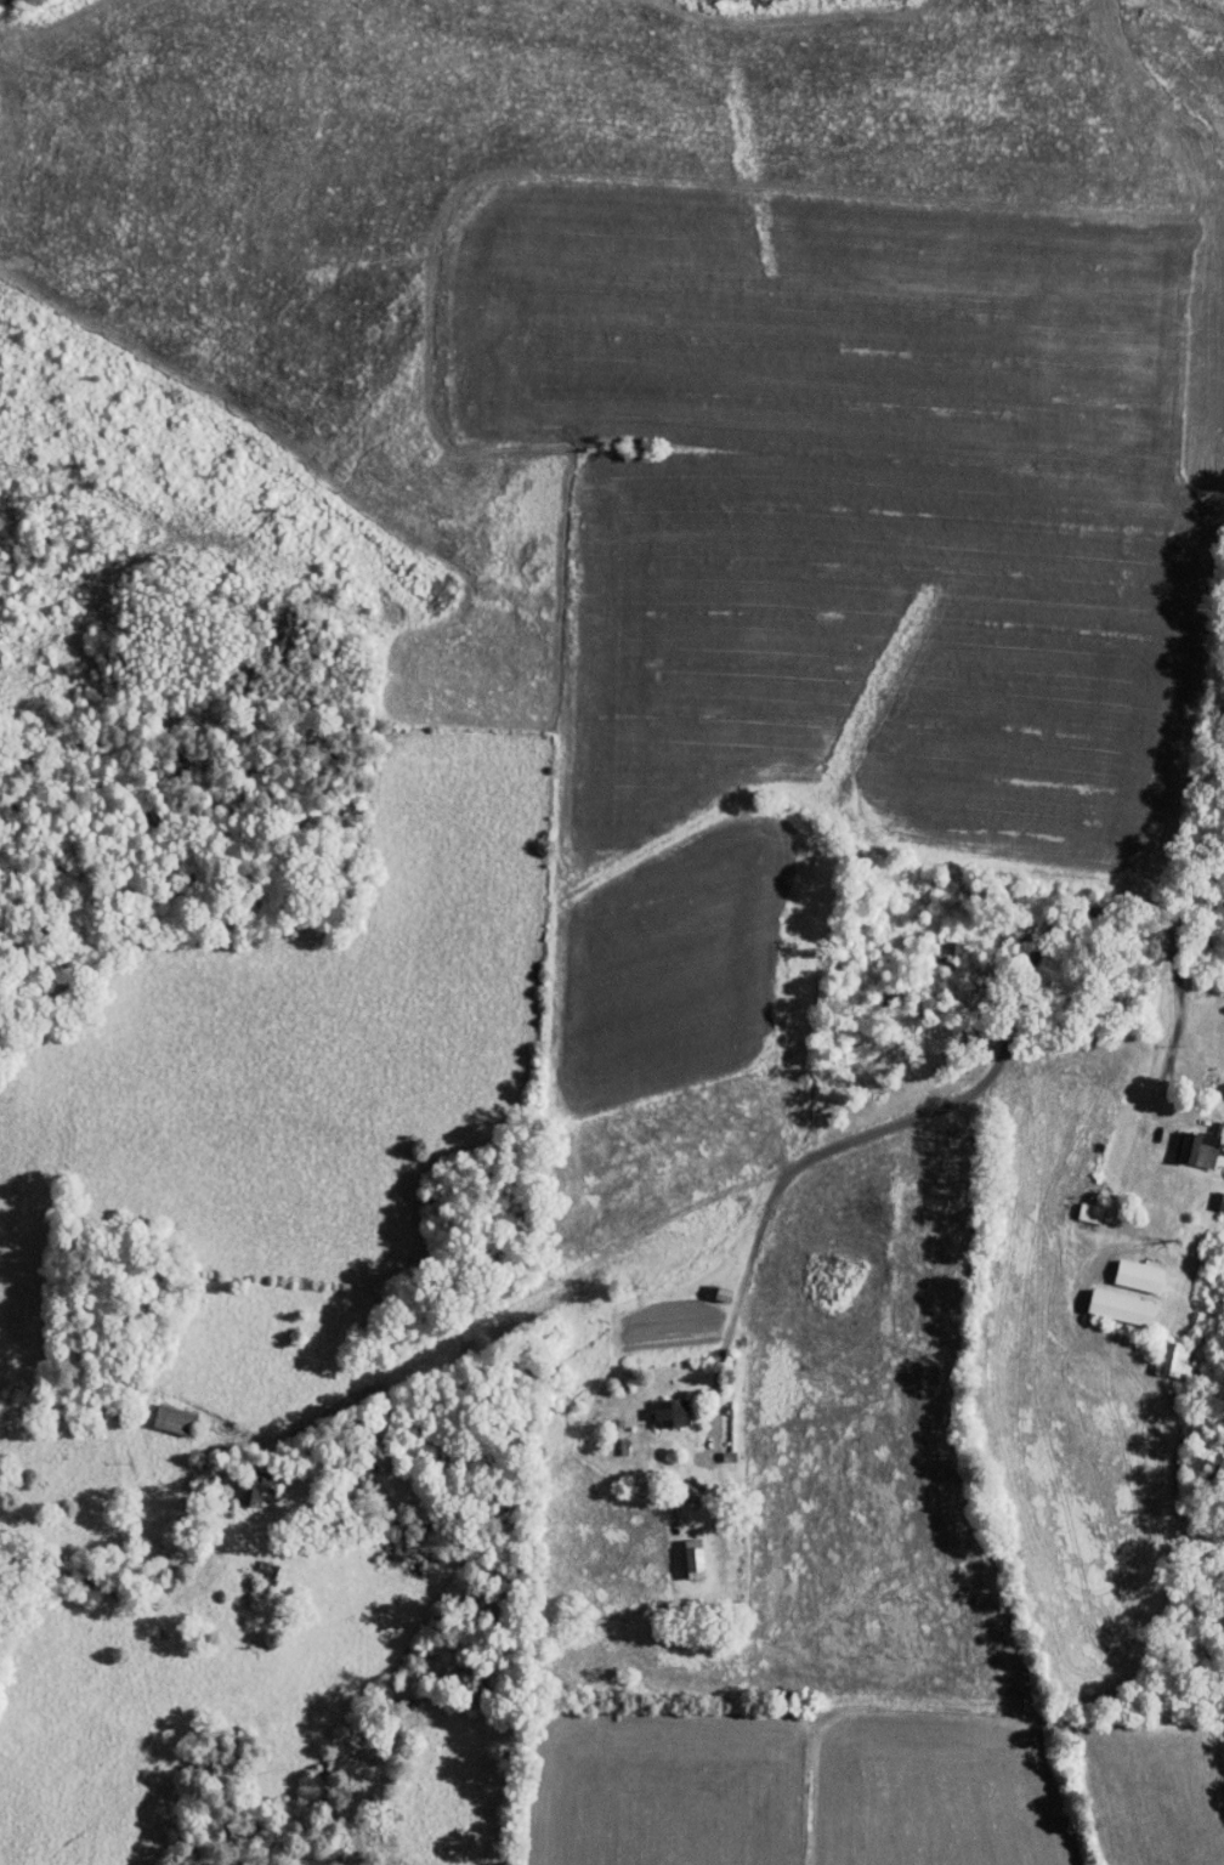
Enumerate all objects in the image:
building: (941, 940)
road: (1162, 1007)
road: (963, 1095)
building: (1189, 1139)
building: (1211, 1194)
building: (1078, 1203)
road: (884, 1223)
building: (1127, 1268)
building: (1110, 1299)
building: (1166, 1351)
building: (658, 1404)
building: (161, 1411)
building: (245, 1481)
building: (682, 1551)

